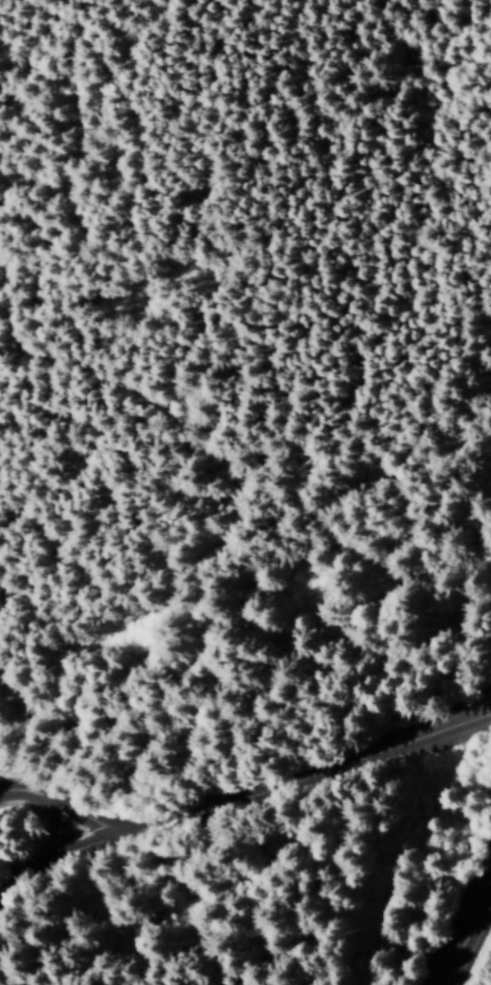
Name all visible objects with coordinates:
road: (279, 776)
road: (40, 808)
road: (33, 869)
road: (460, 927)

